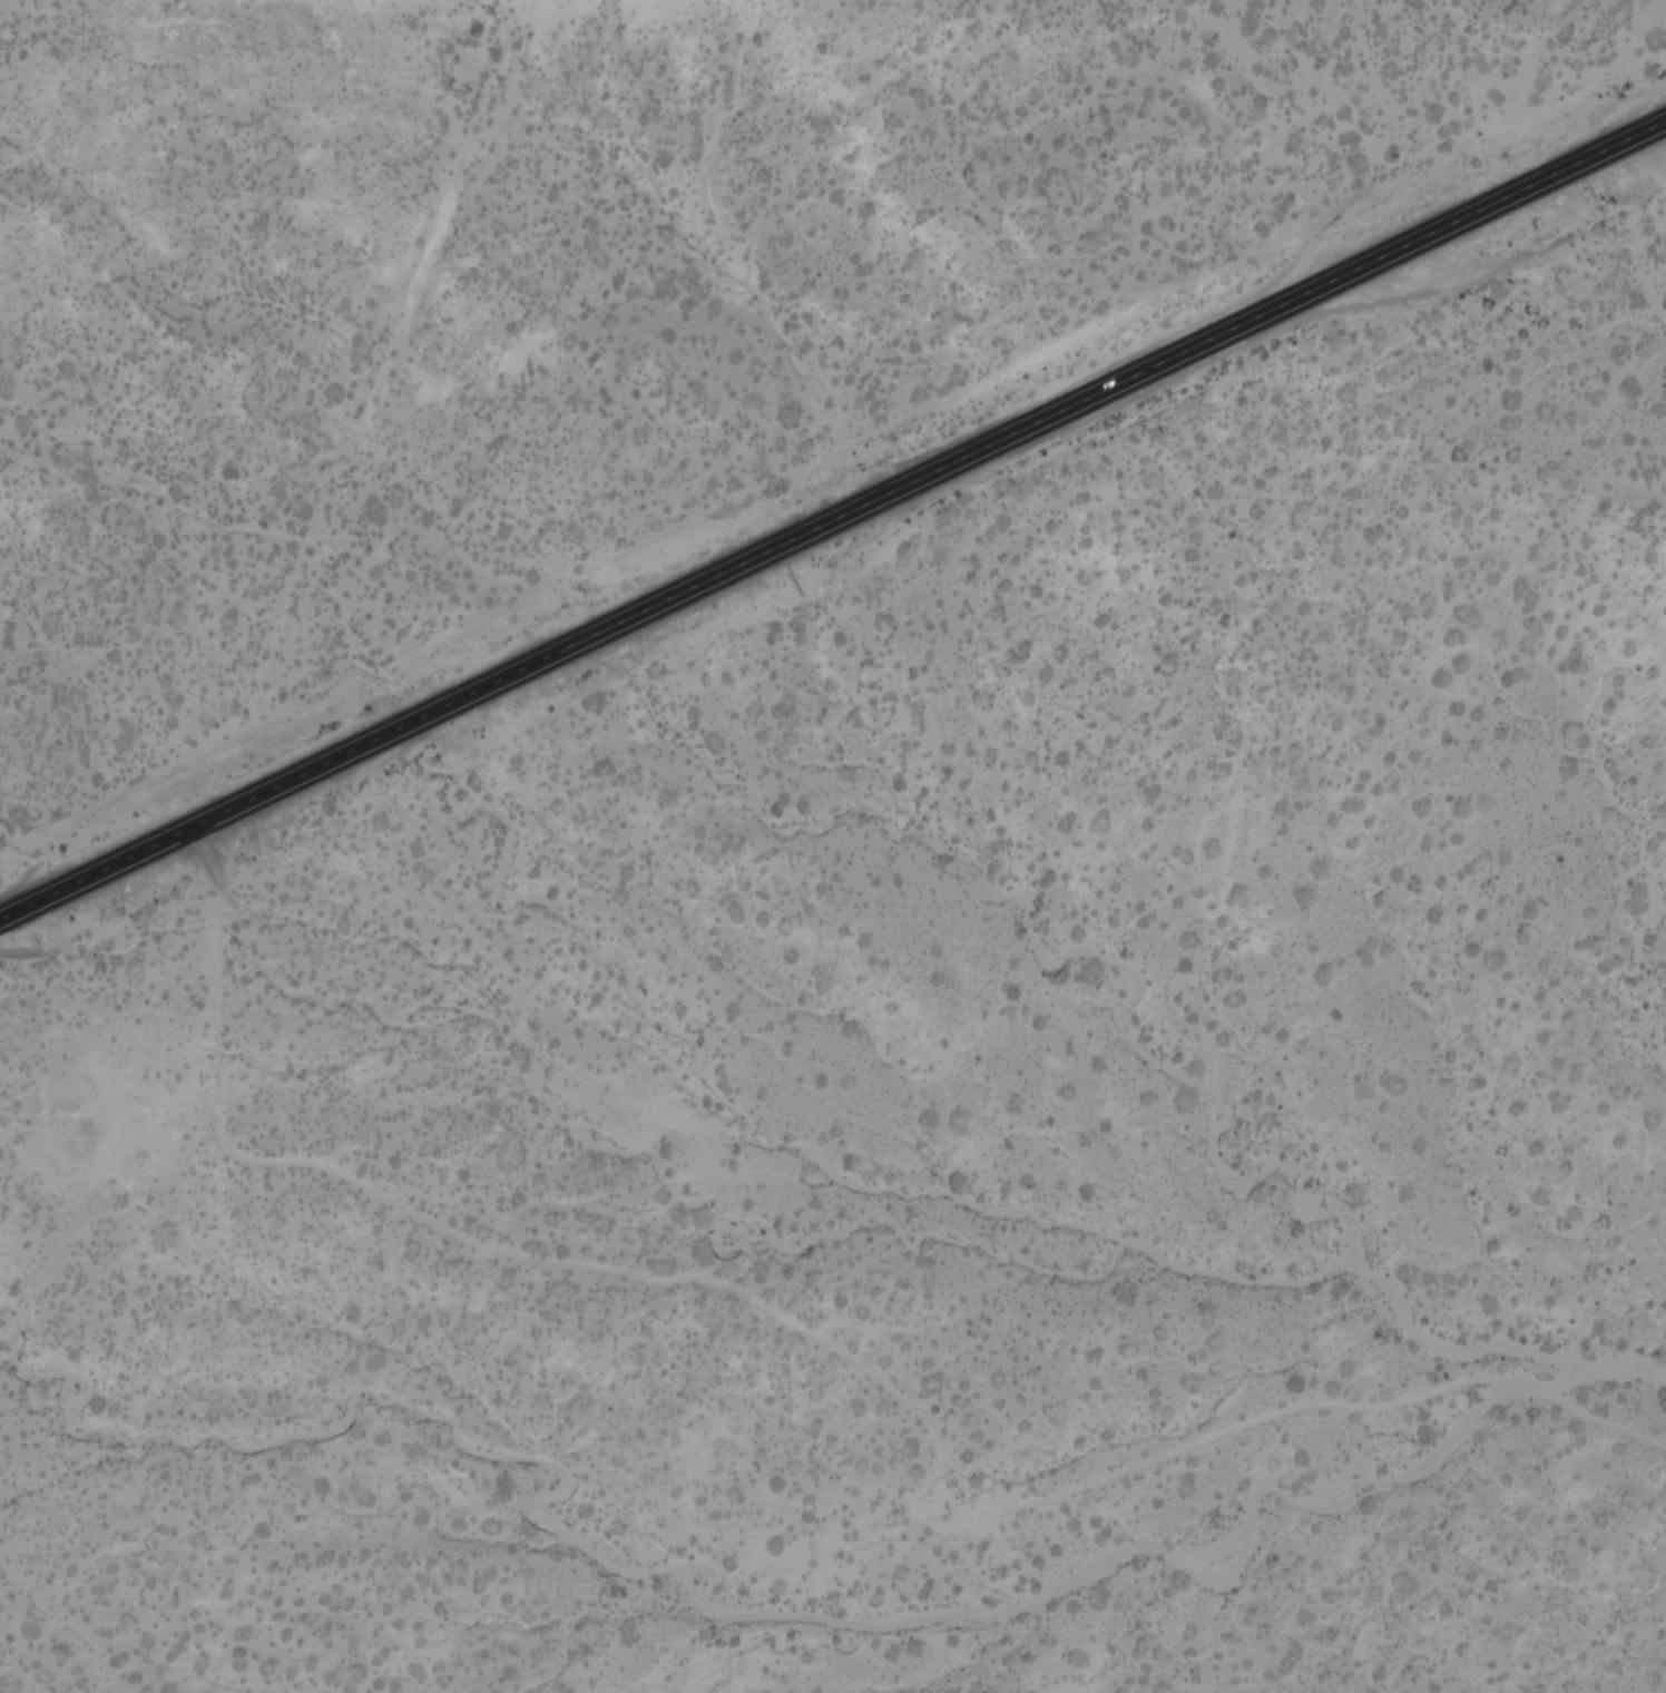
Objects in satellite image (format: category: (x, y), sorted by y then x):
road: (832, 516)

